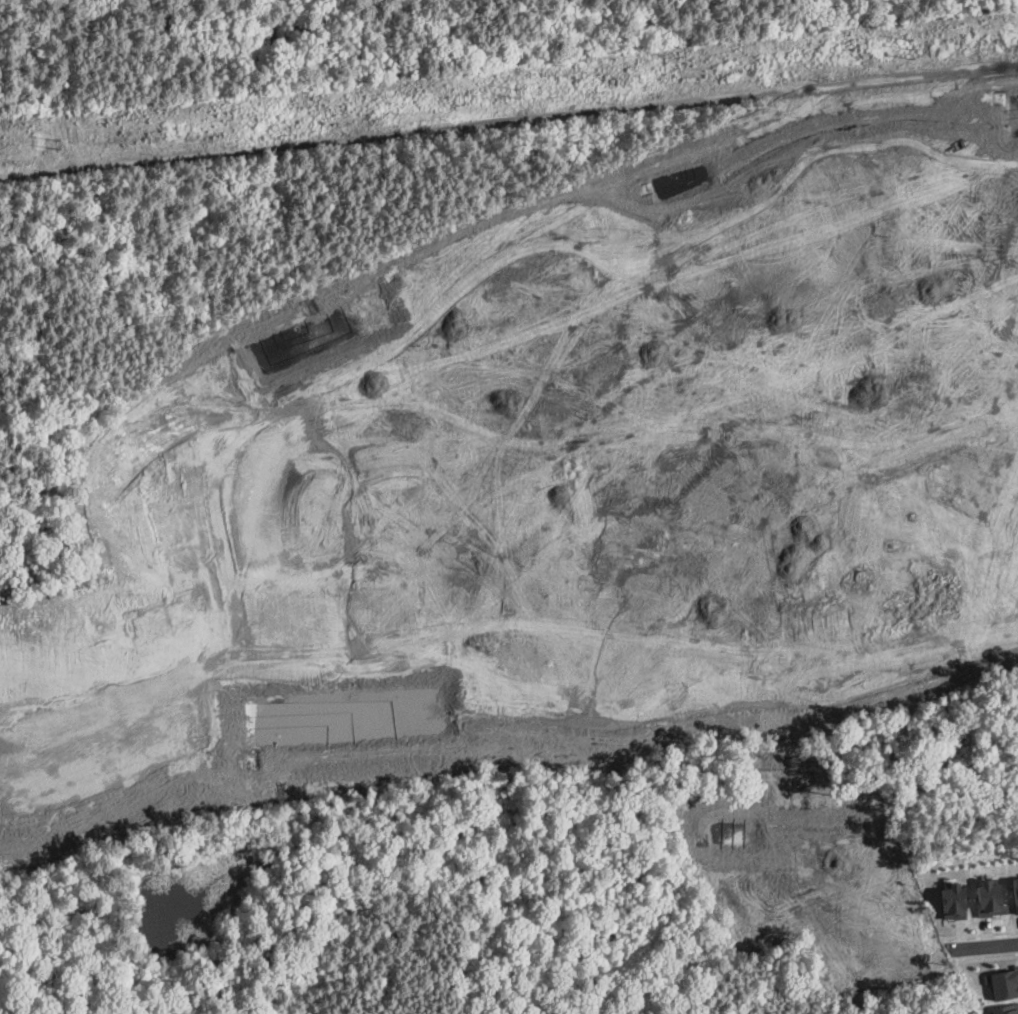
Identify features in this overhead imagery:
power tower: (908, 47)
power tower: (513, 91)
road: (509, 127)
power tower: (56, 142)
road: (509, 308)
road: (856, 356)
road: (975, 384)
road: (997, 405)
road: (653, 462)
road: (774, 471)
road: (921, 548)
road: (919, 644)
road: (359, 647)
road: (821, 651)
road: (814, 883)
building: (1014, 892)
building: (989, 897)
building: (952, 900)
road: (980, 933)
road: (982, 945)
road: (987, 957)
building: (1002, 981)
building: (1006, 1008)

